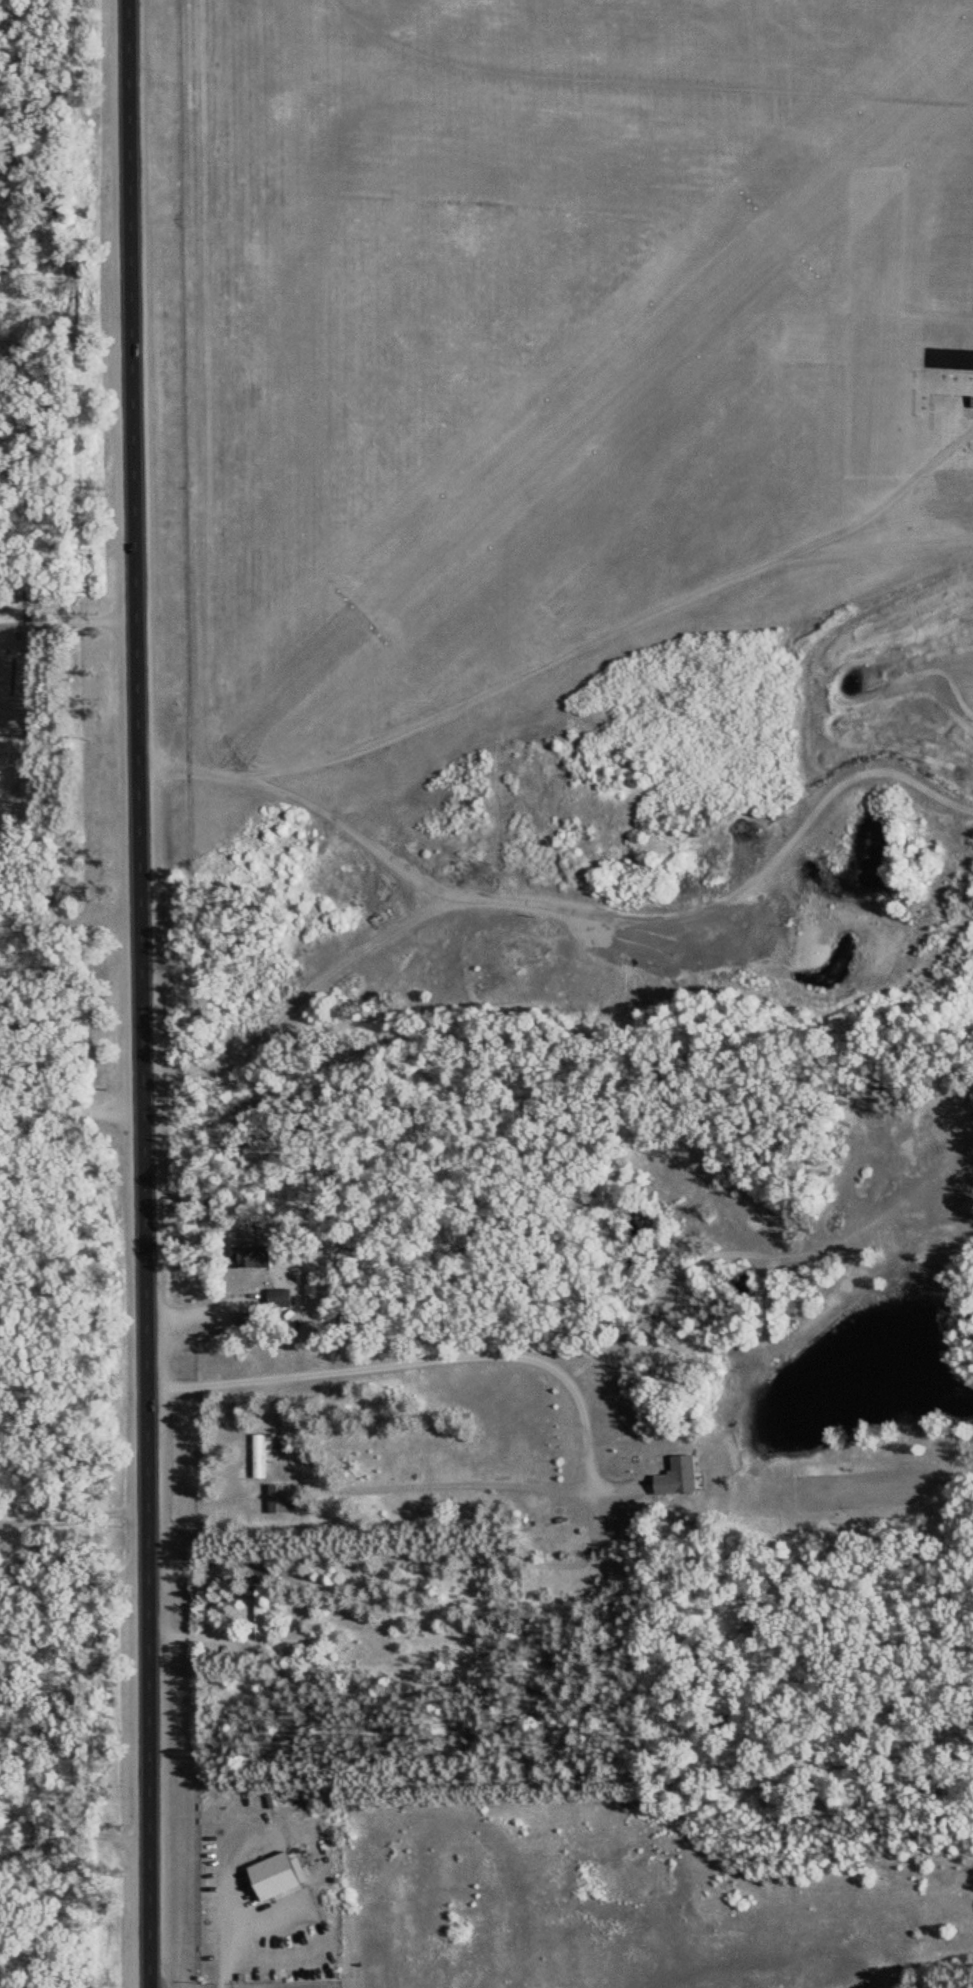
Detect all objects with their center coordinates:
airport runway: (673, 331)
airport: (545, 361)
road: (910, 778)
road: (421, 918)
road: (142, 993)
building: (256, 1259)
building: (246, 1321)
building: (259, 1456)
building: (678, 1477)
building: (279, 1498)
road: (74, 1520)
building: (626, 1526)
building: (260, 1618)
road: (74, 1681)
building: (272, 1815)
road: (74, 1842)
building: (274, 1877)

